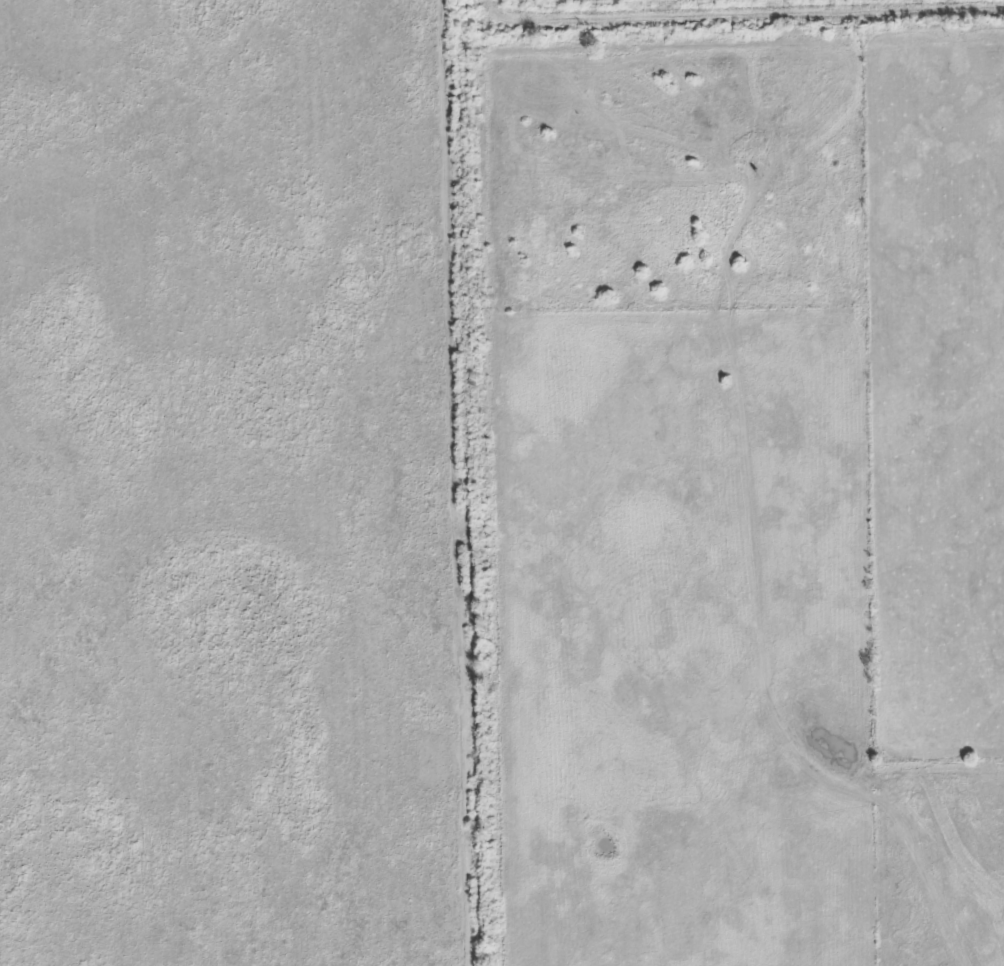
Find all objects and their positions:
road: (477, 4)
road: (653, 4)

